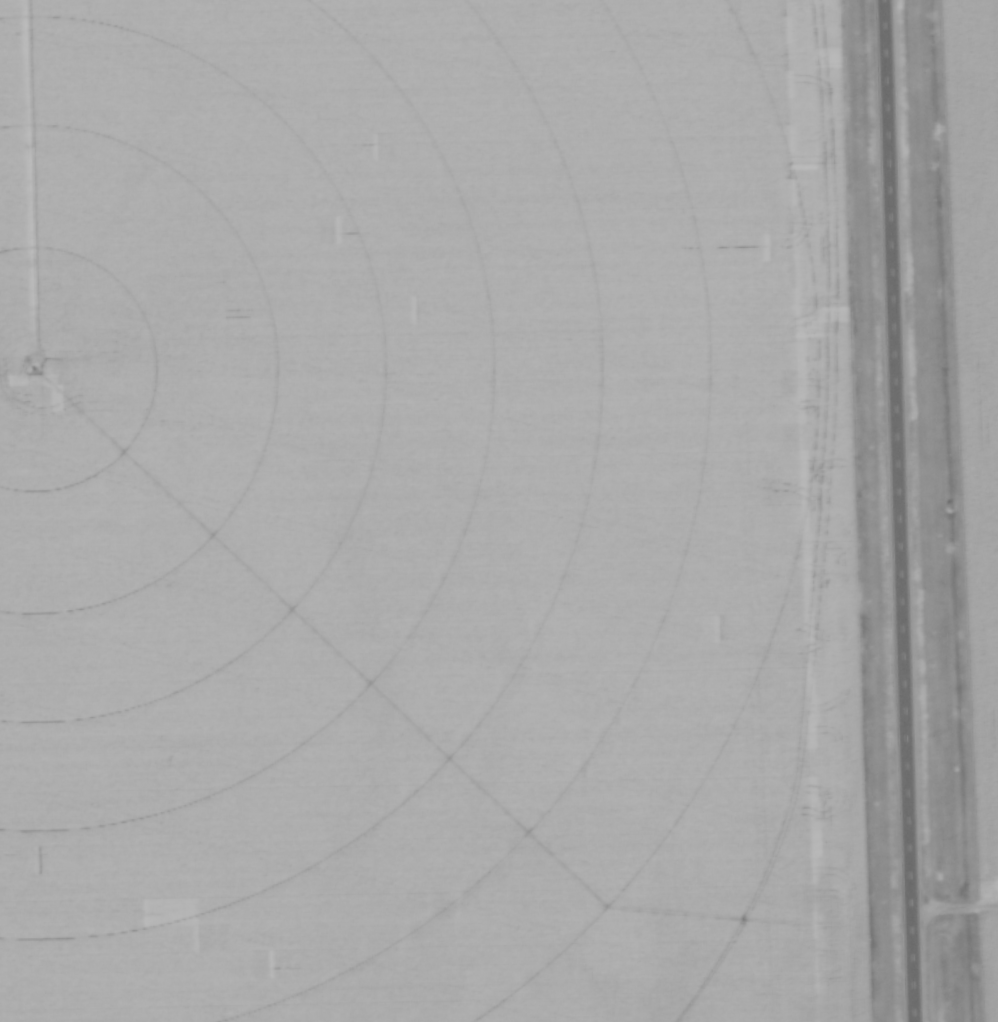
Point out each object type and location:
road: (899, 510)

